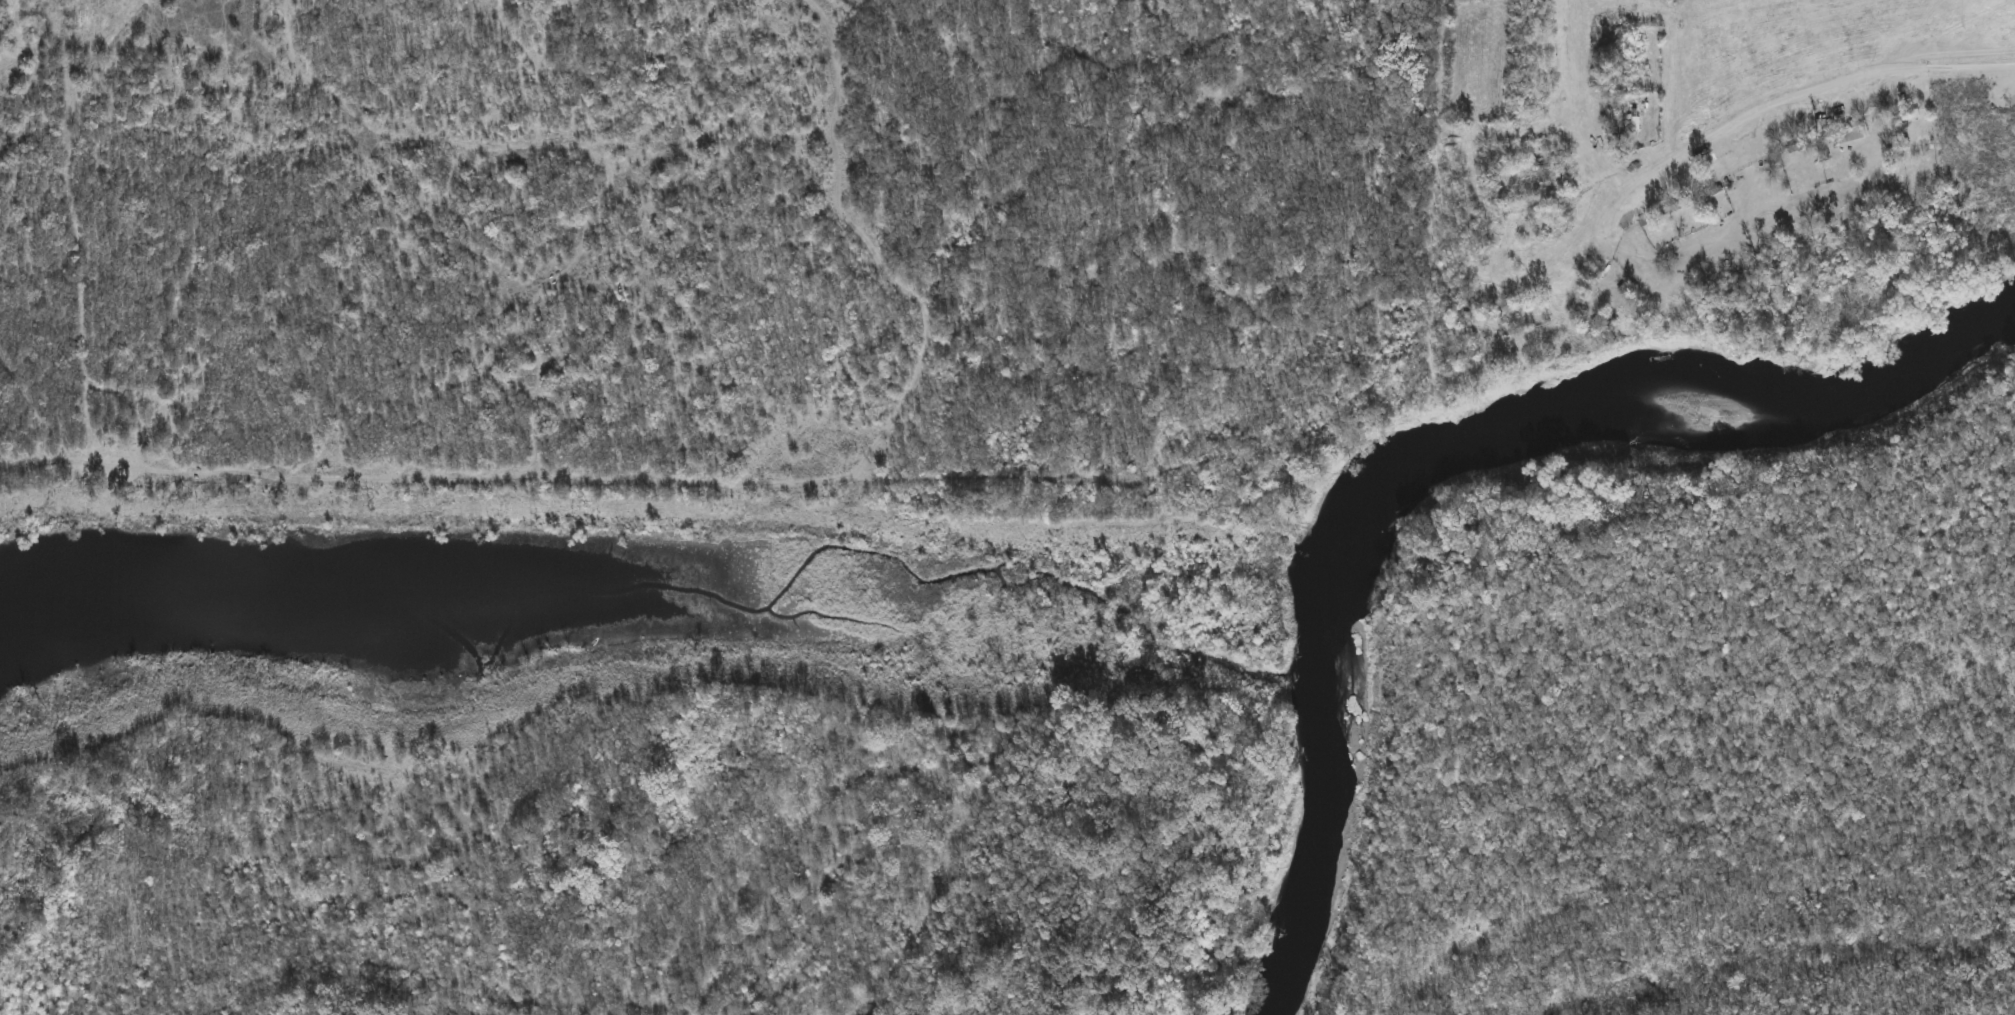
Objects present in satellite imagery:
road: (1822, 92)
building: (1853, 136)
river: (1438, 456)
road: (387, 985)

